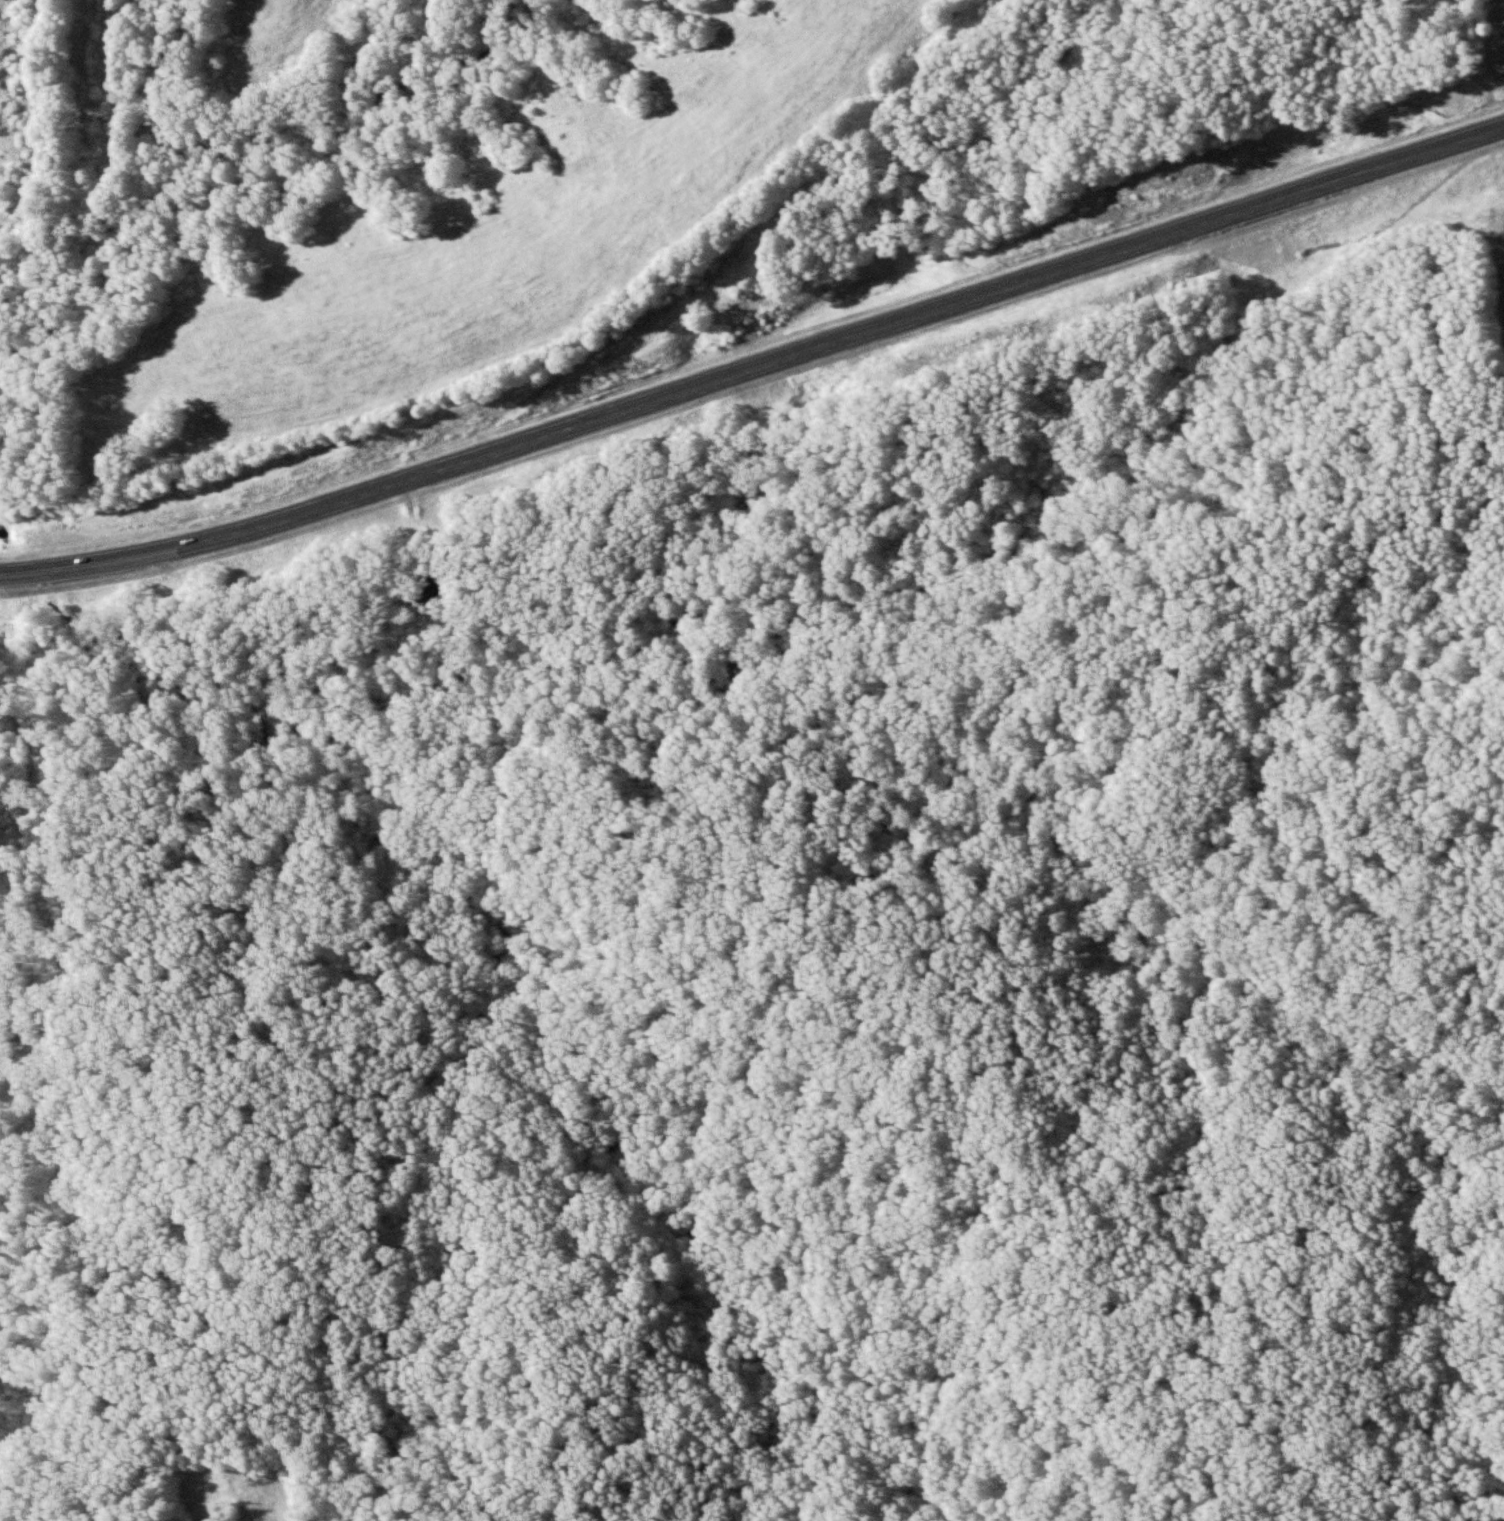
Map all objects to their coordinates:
road: (755, 363)

